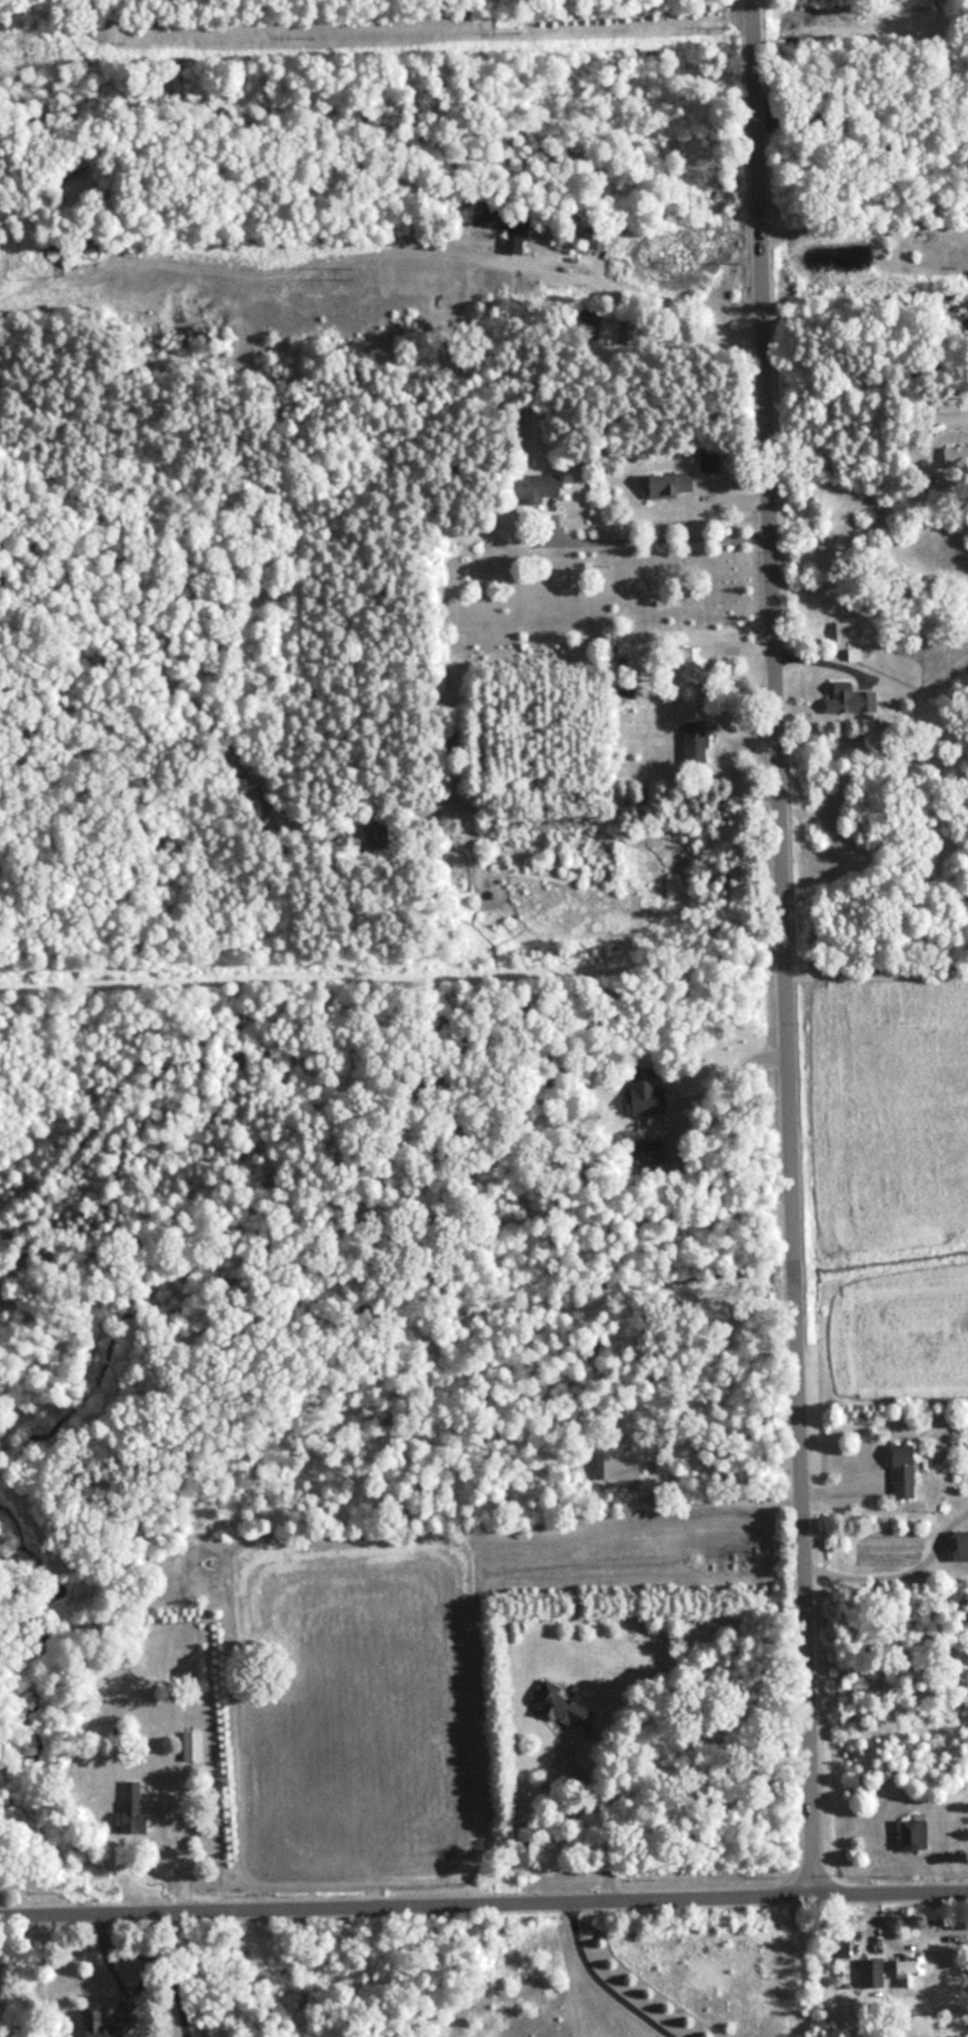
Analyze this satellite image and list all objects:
building: (508, 229)
road: (429, 234)
power tower: (733, 261)
power tower: (360, 272)
building: (671, 485)
building: (536, 488)
road: (653, 536)
building: (848, 632)
building: (852, 699)
building: (696, 742)
building: (370, 836)
road: (784, 949)
road: (709, 1071)
building: (650, 1099)
building: (906, 1471)
building: (565, 1707)
building: (193, 1743)
building: (131, 1802)
road: (597, 1826)
building: (916, 1834)
road: (484, 1902)
building: (835, 1948)
building: (899, 1966)
road: (171, 1971)
building: (866, 1973)
road: (600, 1982)
building: (95, 2024)

